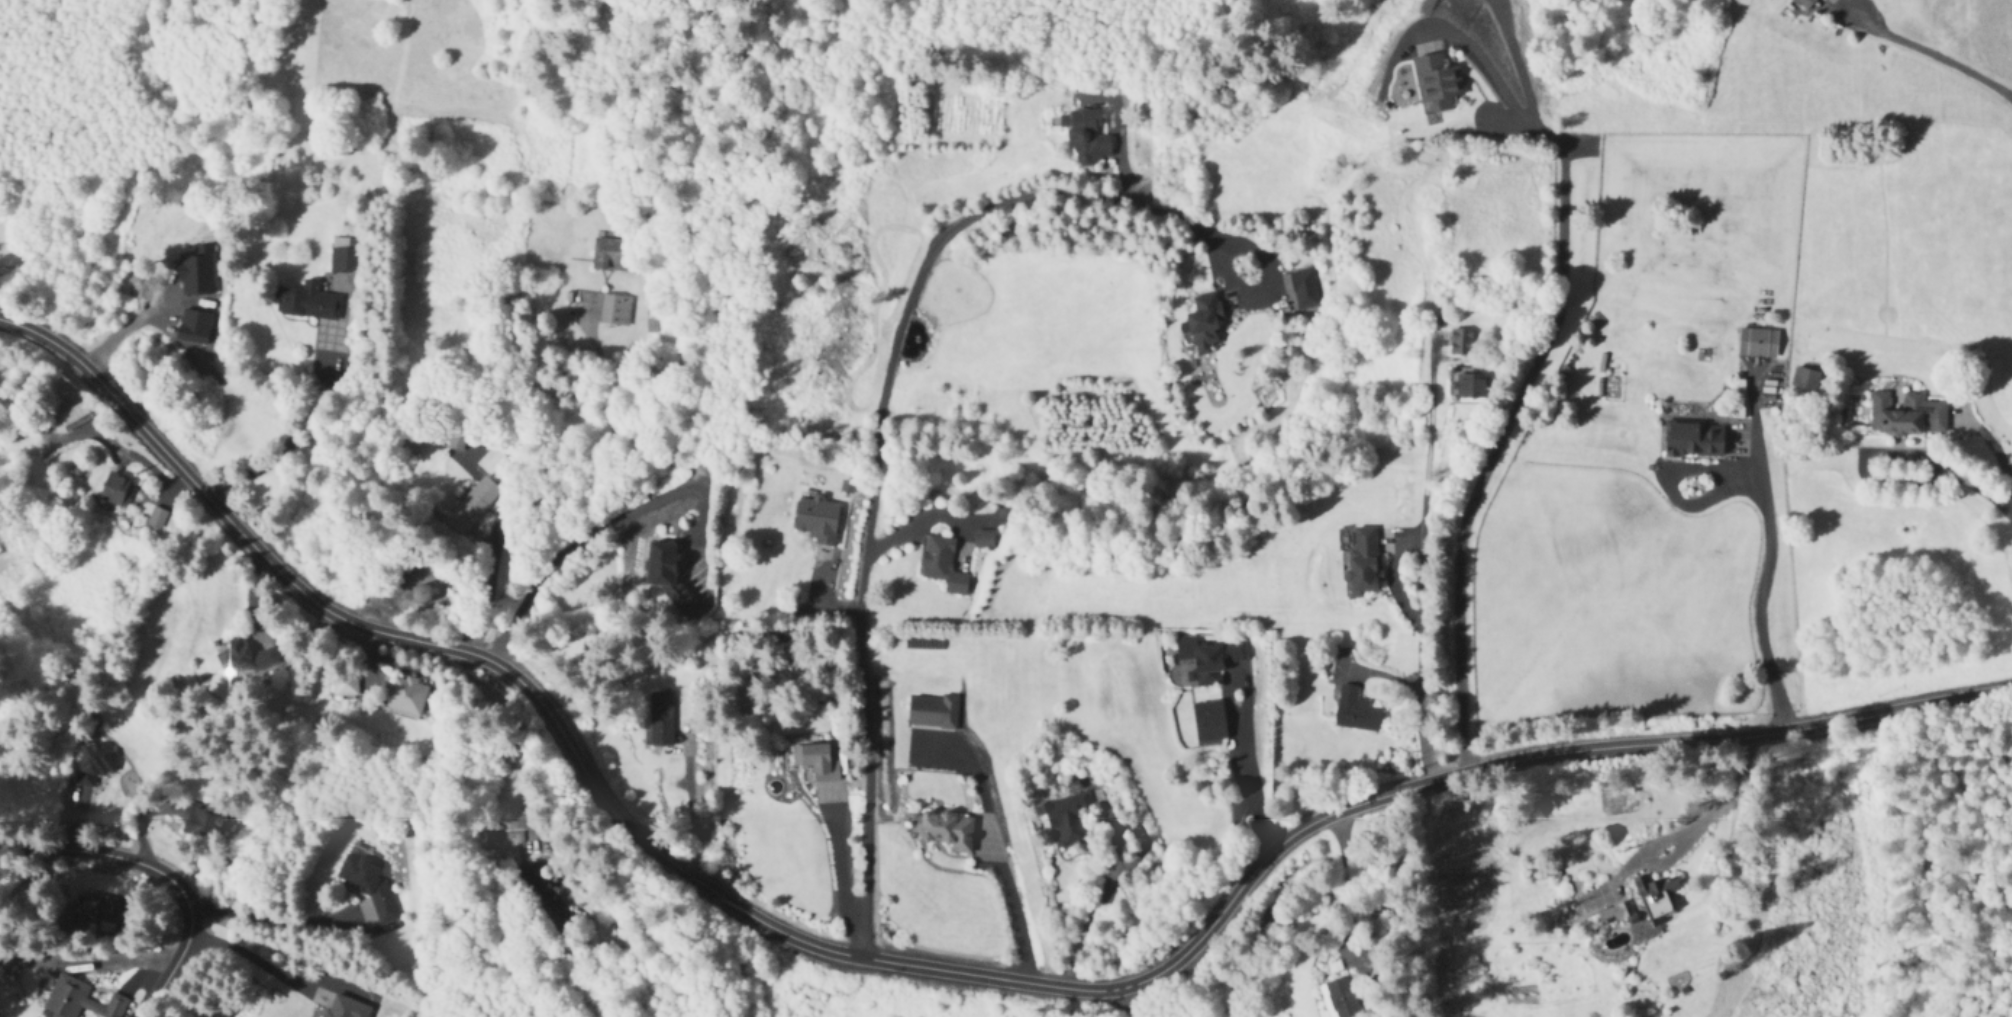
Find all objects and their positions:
building: (1805, 2)
road: (1929, 53)
road: (1479, 66)
road: (1516, 70)
building: (1437, 82)
building: (1086, 135)
building: (346, 256)
building: (609, 256)
building: (1300, 290)
building: (307, 302)
building: (614, 310)
building: (1205, 324)
road: (122, 325)
building: (1461, 342)
building: (1757, 343)
building: (1805, 380)
building: (1470, 385)
building: (71, 414)
building: (1907, 415)
road: (1509, 419)
road: (293, 433)
building: (1694, 439)
road: (1998, 455)
road: (876, 459)
road: (1868, 465)
road: (1977, 488)
building: (116, 490)
building: (476, 501)
building: (157, 518)
building: (817, 520)
road: (606, 521)
road: (919, 525)
building: (983, 539)
building: (1364, 562)
building: (942, 564)
building: (666, 571)
road: (1422, 571)
road: (1760, 573)
building: (423, 594)
building: (246, 657)
building: (1211, 658)
building: (345, 686)
building: (408, 696)
building: (1356, 711)
building: (661, 719)
building: (1209, 721)
building: (813, 761)
building: (94, 766)
road: (1245, 782)
road: (1725, 798)
road: (689, 812)
building: (1068, 820)
building: (203, 822)
building: (944, 831)
road: (161, 873)
building: (369, 892)
building: (1656, 897)
building: (543, 898)
road: (1098, 902)
road: (1008, 906)
building: (88, 910)
building: (1616, 915)
road: (1348, 918)
road: (269, 919)
road: (253, 959)
road: (923, 970)
building: (68, 999)
building: (1340, 999)
road: (1124, 1003)
building: (345, 1008)

